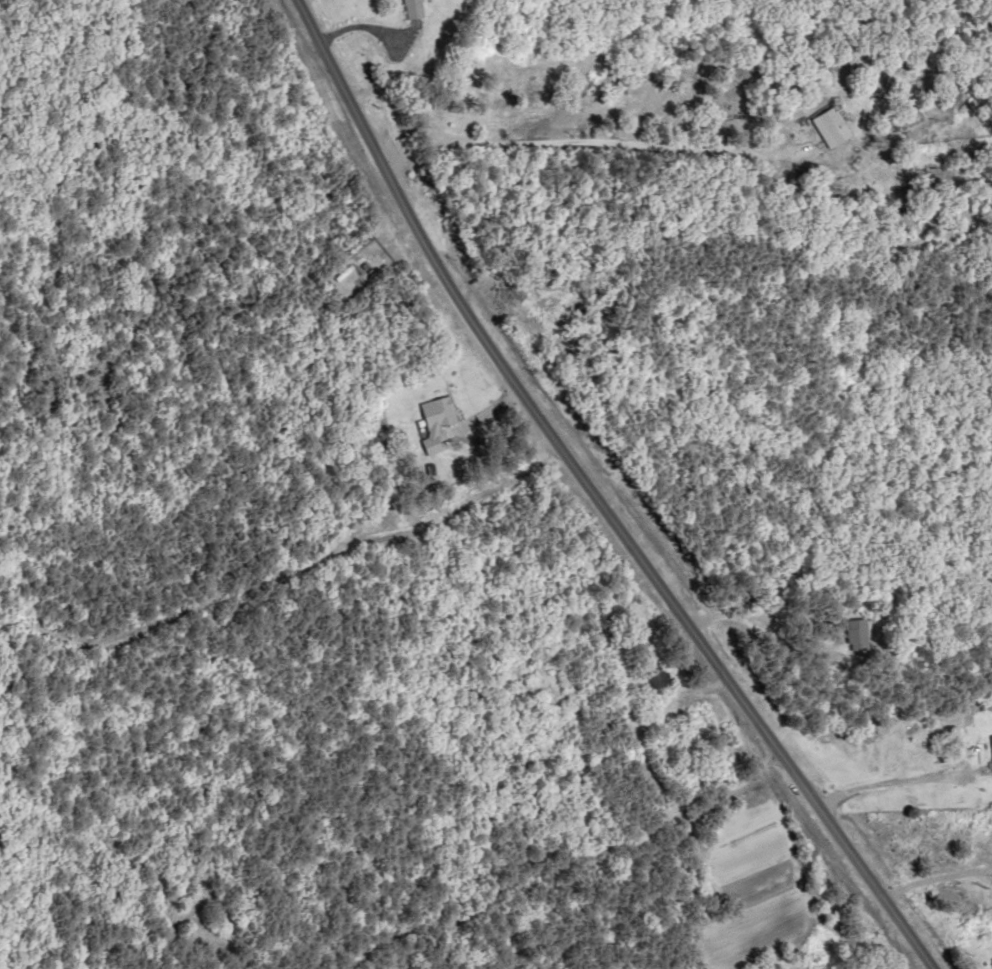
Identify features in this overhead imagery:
building: (417, 9)
building: (839, 127)
building: (531, 304)
building: (439, 419)
road: (610, 495)
building: (860, 636)
road: (891, 730)
building: (989, 840)
road: (938, 879)

